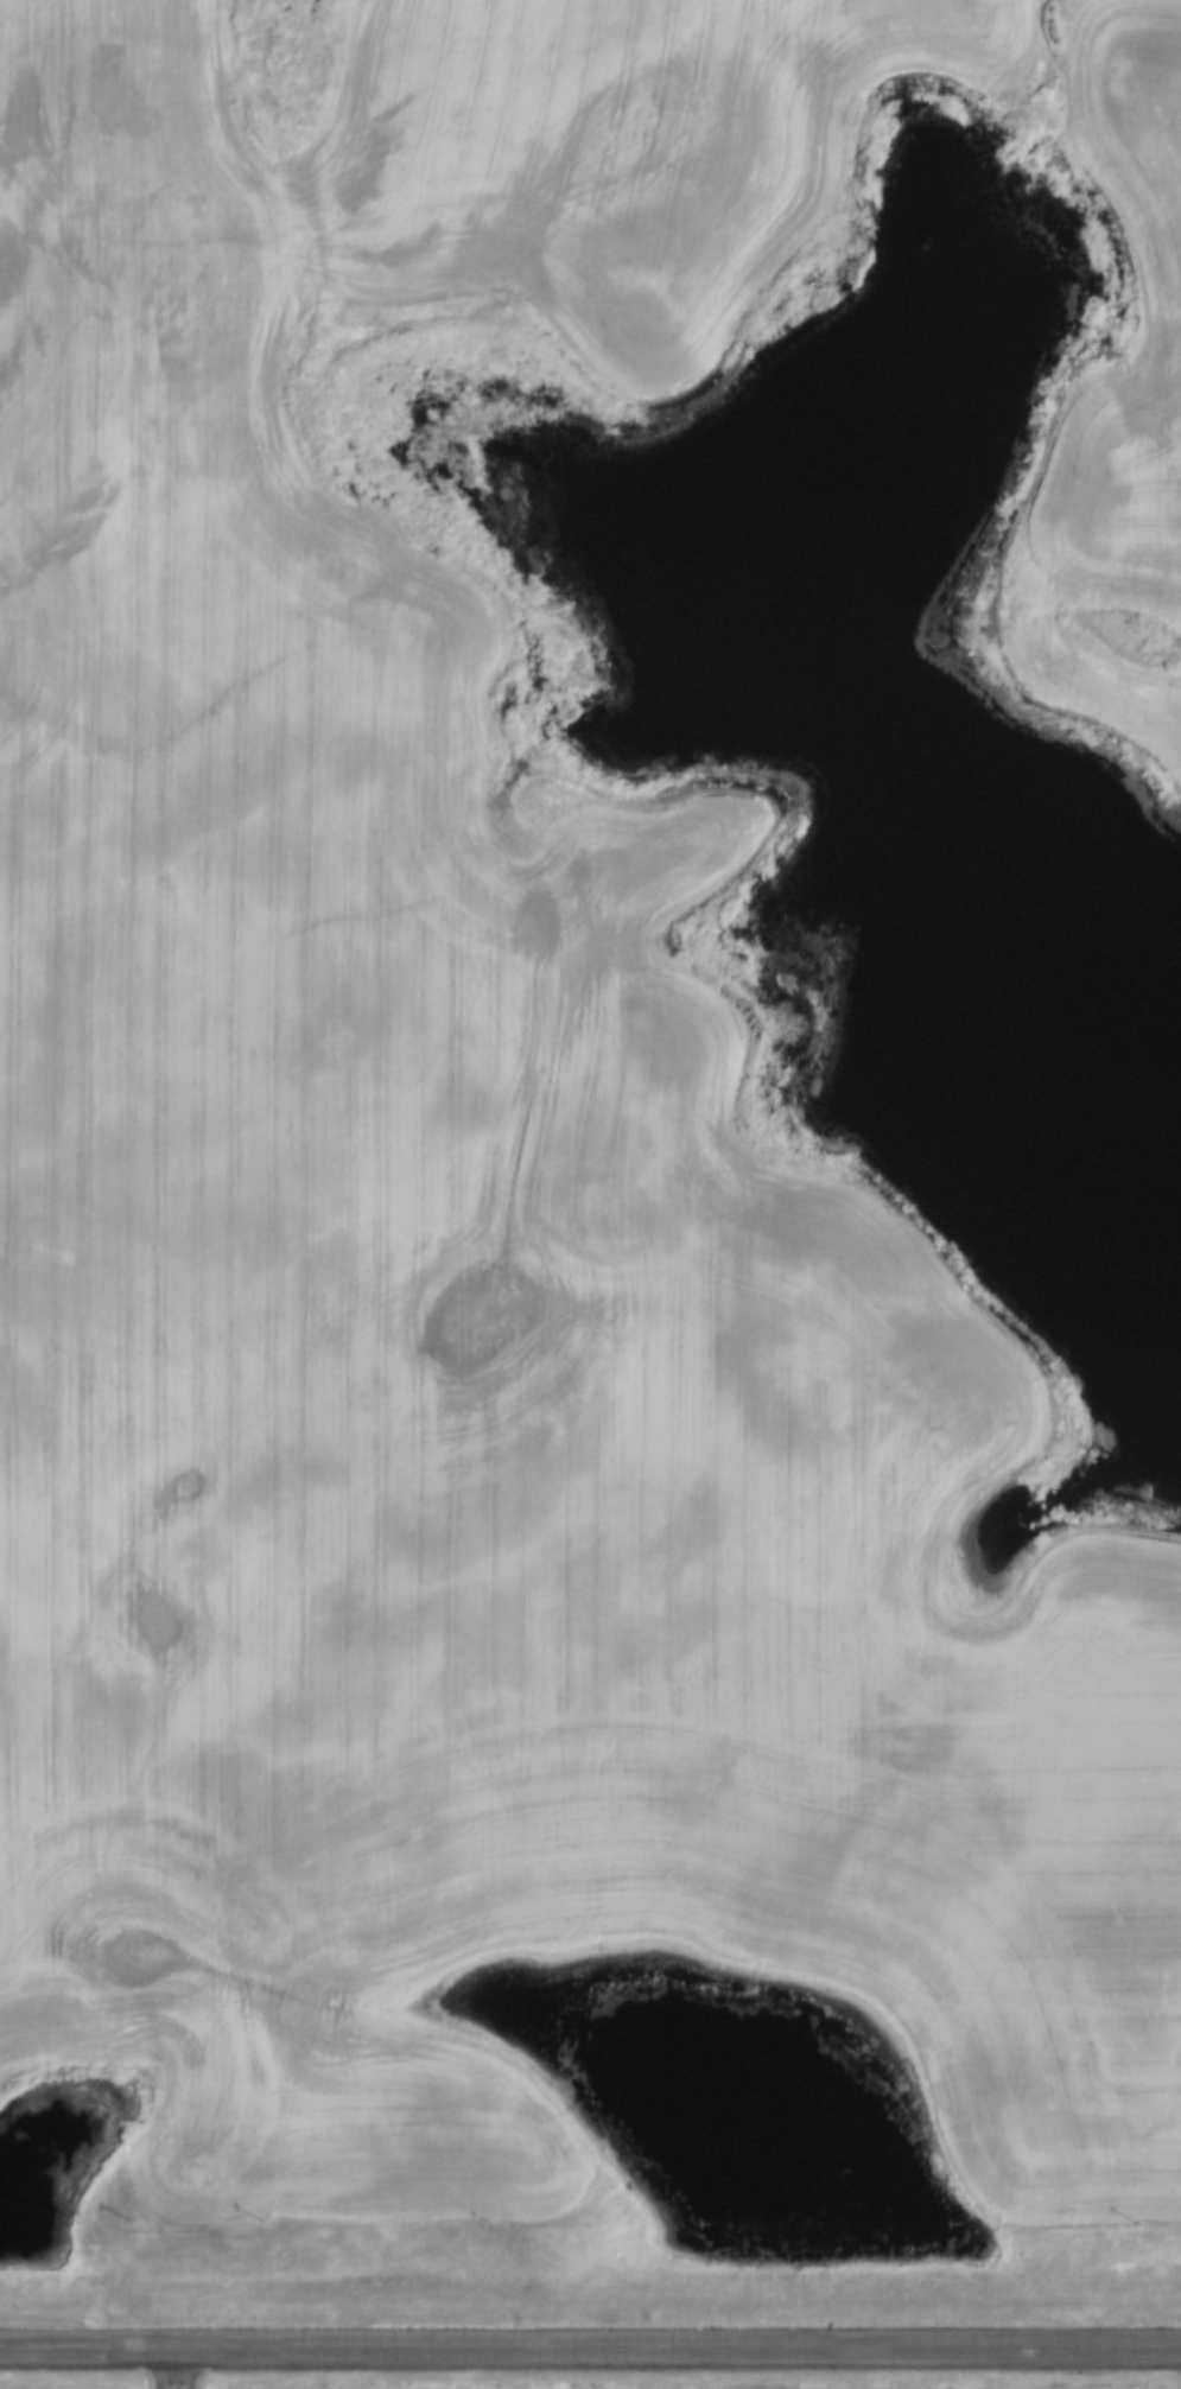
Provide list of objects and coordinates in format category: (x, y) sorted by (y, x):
road: (590, 2350)
road: (171, 2368)

